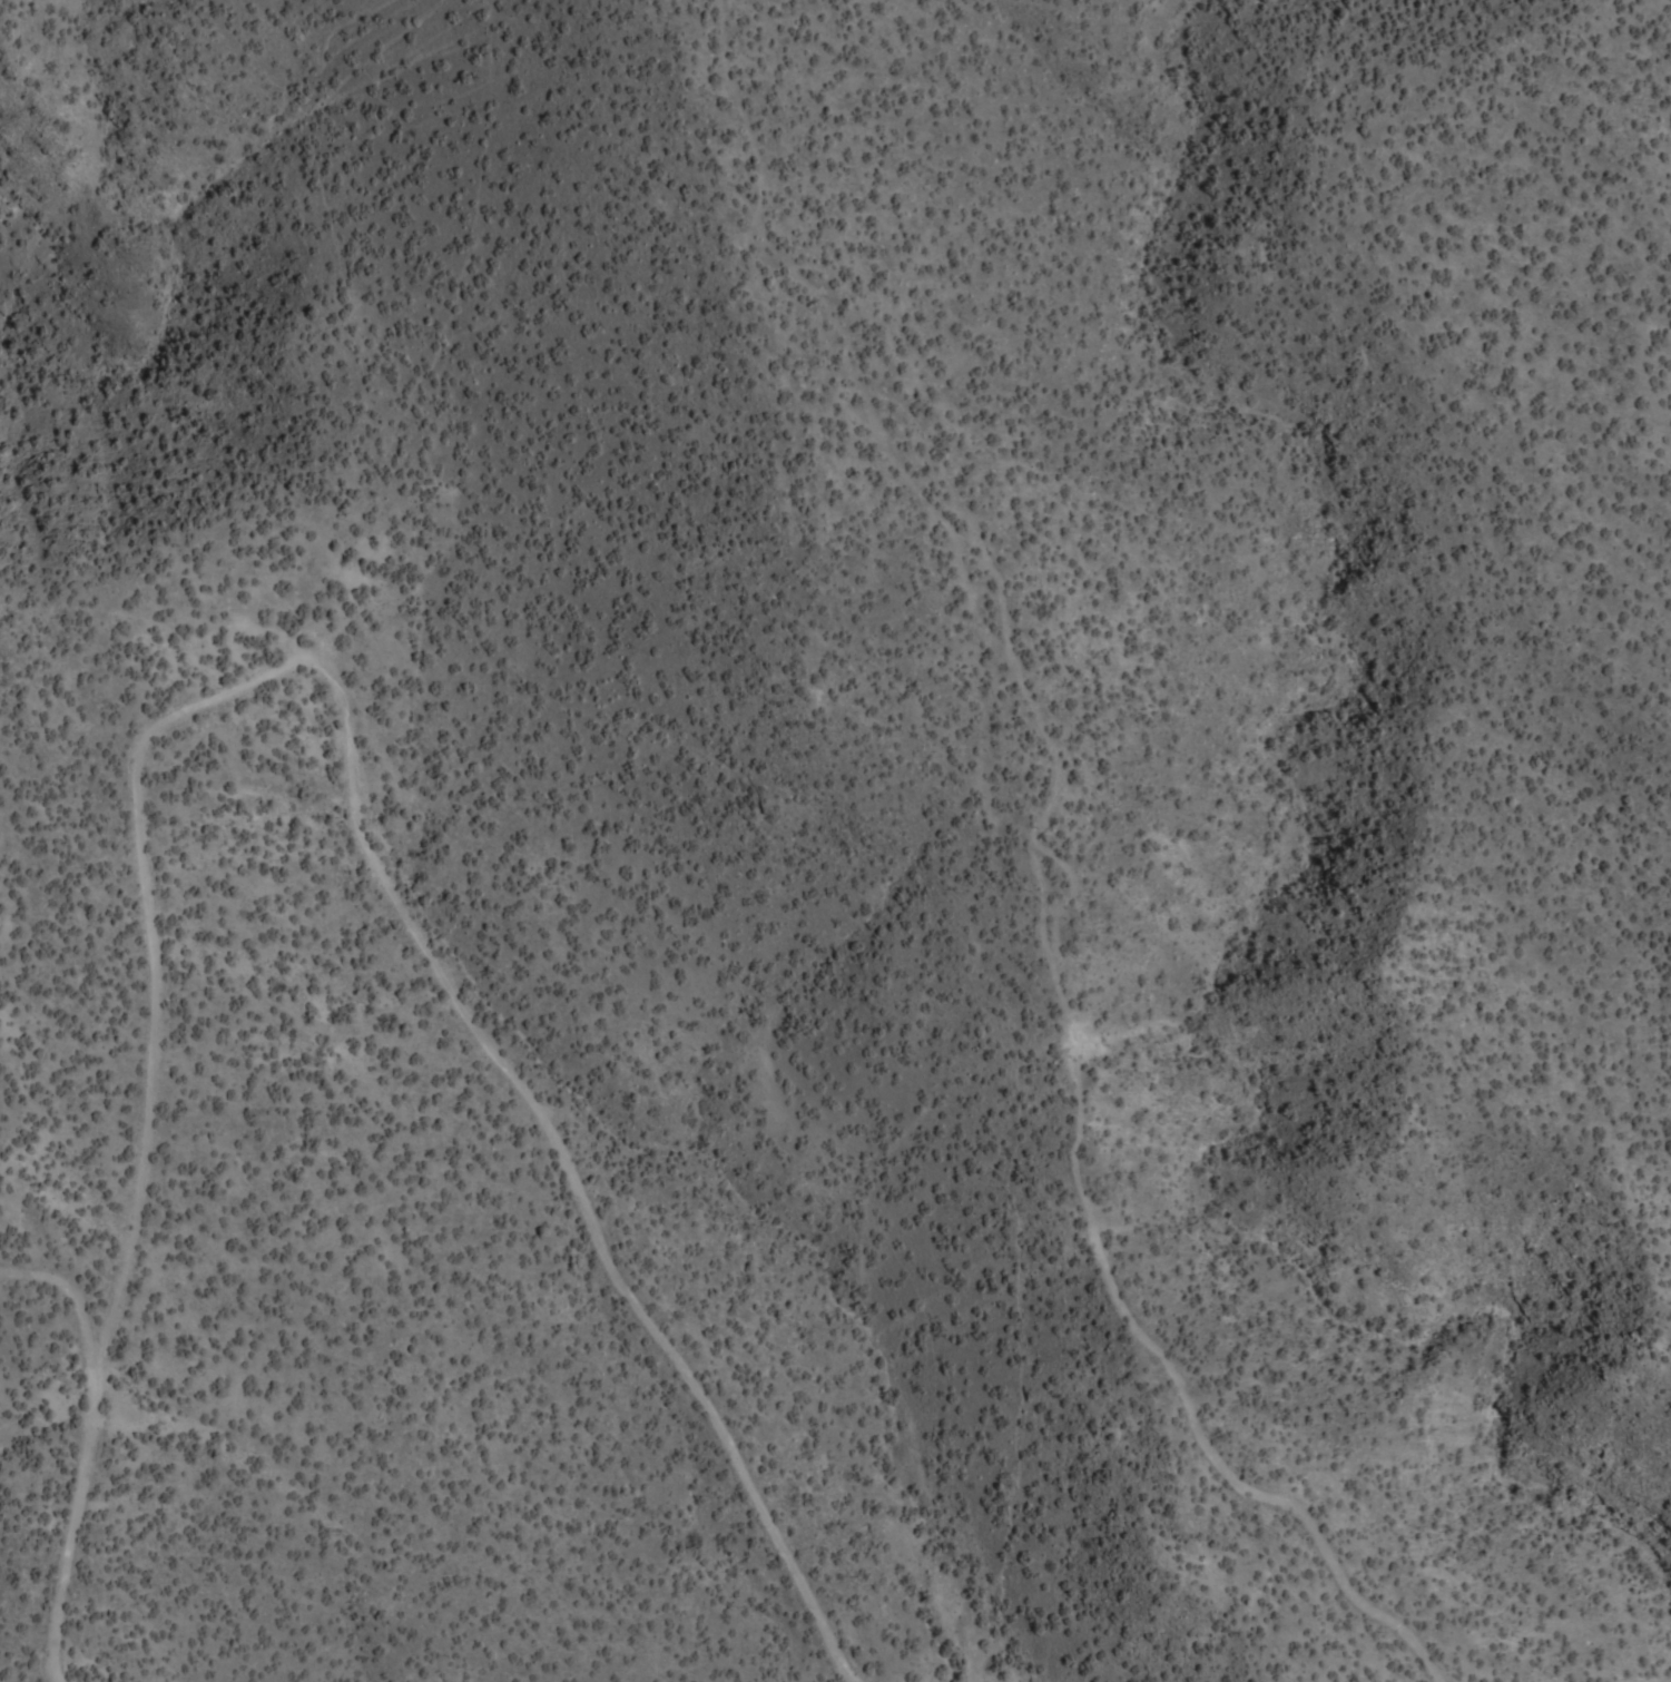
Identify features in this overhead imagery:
road: (341, 676)

